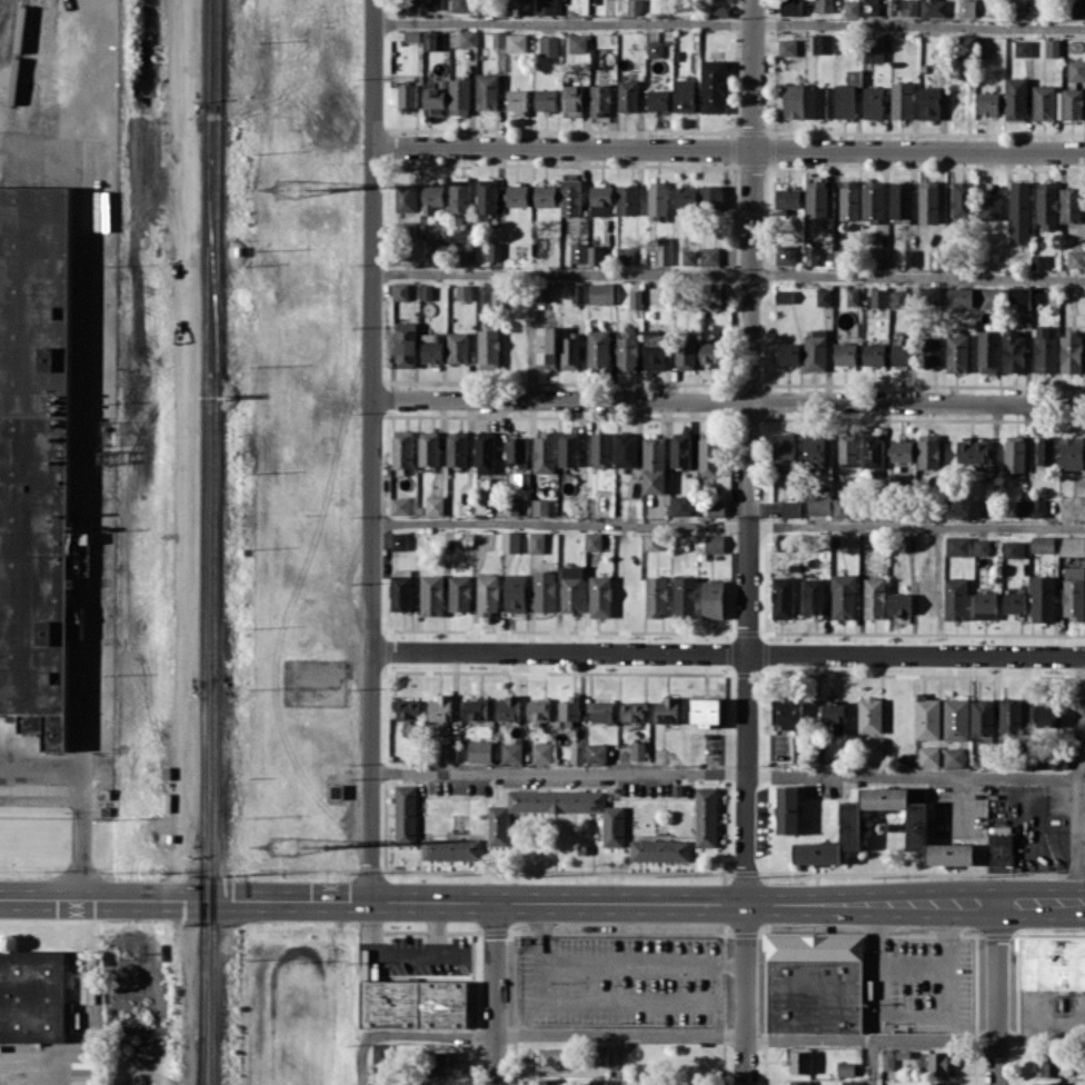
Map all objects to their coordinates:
railway: (0, 1)
building: (436, 4)
building: (460, 6)
building: (824, 6)
building: (406, 7)
building: (524, 7)
building: (546, 7)
building: (634, 7)
building: (790, 7)
building: (908, 7)
building: (870, 8)
building: (933, 8)
building: (966, 8)
building: (852, 9)
building: (1076, 9)
building: (719, 10)
road: (730, 22)
building: (411, 34)
building: (464, 37)
building: (498, 38)
building: (434, 40)
building: (516, 41)
building: (578, 42)
building: (822, 42)
building: (548, 44)
building: (786, 47)
building: (965, 47)
building: (1052, 47)
building: (654, 48)
building: (1023, 48)
building: (873, 49)
building: (1076, 69)
building: (714, 86)
building: (487, 91)
railway: (12, 92)
building: (685, 94)
building: (847, 94)
building: (407, 96)
building: (459, 96)
building: (628, 96)
building: (435, 98)
building: (1015, 98)
building: (546, 99)
building: (600, 99)
building: (517, 100)
building: (573, 100)
building: (658, 100)
building: (794, 100)
building: (902, 100)
building: (817, 101)
building: (1043, 101)
building: (873, 102)
building: (929, 102)
building: (987, 102)
building: (1073, 103)
building: (1057, 104)
road: (729, 146)
power tower: (328, 187)
railway: (217, 188)
power tower: (283, 189)
building: (517, 195)
building: (546, 195)
building: (710, 195)
building: (486, 196)
building: (406, 197)
building: (432, 197)
building: (570, 197)
building: (685, 197)
building: (787, 197)
building: (601, 199)
building: (627, 199)
building: (816, 199)
building: (849, 199)
building: (963, 199)
building: (459, 200)
building: (657, 200)
building: (873, 200)
building: (928, 201)
building: (902, 202)
building: (1071, 205)
building: (1047, 206)
building: (991, 208)
building: (1019, 211)
building: (448, 250)
building: (578, 252)
building: (495, 253)
building: (664, 253)
building: (596, 255)
building: (624, 255)
building: (709, 255)
building: (785, 255)
building: (689, 256)
building: (810, 256)
building: (909, 257)
building: (937, 259)
building: (1076, 259)
building: (1038, 261)
railway: (211, 267)
road: (729, 272)
building: (400, 290)
building: (426, 291)
building: (464, 291)
building: (578, 292)
building: (601, 292)
building: (715, 293)
building: (928, 293)
building: (1019, 293)
building: (784, 296)
building: (823, 296)
building: (853, 296)
building: (877, 297)
building: (960, 297)
building: (989, 297)
building: (496, 298)
building: (635, 298)
building: (899, 298)
building: (406, 344)
building: (547, 346)
building: (431, 347)
building: (457, 347)
building: (488, 349)
building: (598, 349)
building: (627, 349)
building: (815, 350)
building: (988, 350)
building: (1045, 350)
building: (654, 351)
building: (711, 351)
building: (932, 351)
building: (1014, 351)
building: (1071, 351)
building: (569, 352)
building: (788, 352)
building: (957, 352)
building: (686, 354)
building: (846, 354)
building: (874, 354)
building: (904, 354)
road: (728, 399)
building: (402, 448)
building: (429, 448)
building: (457, 448)
building: (568, 448)
building: (600, 448)
building: (814, 448)
building: (847, 448)
road: (371, 449)
building: (626, 449)
building: (1045, 449)
road: (187, 450)
building: (517, 450)
building: (902, 450)
building: (927, 450)
building: (972, 450)
building: (544, 451)
building: (680, 451)
road: (750, 451)
building: (784, 451)
building: (873, 451)
building: (1014, 452)
building: (1072, 452)
building: (485, 455)
building: (708, 456)
building: (33, 457)
building: (654, 465)
road: (83, 466)
building: (680, 504)
building: (399, 505)
building: (434, 505)
building: (818, 505)
building: (539, 506)
building: (510, 507)
building: (840, 507)
building: (986, 507)
building: (1022, 507)
building: (1037, 507)
building: (716, 508)
building: (790, 508)
railway: (205, 524)
road: (727, 526)
building: (398, 540)
building: (593, 540)
building: (510, 541)
building: (536, 541)
building: (653, 541)
building: (786, 541)
building: (714, 542)
building: (1043, 544)
building: (957, 545)
building: (981, 546)
building: (1072, 546)
building: (1016, 549)
building: (571, 588)
building: (544, 590)
building: (401, 593)
building: (460, 593)
building: (516, 593)
building: (1074, 593)
building: (488, 594)
building: (431, 595)
building: (685, 595)
building: (600, 596)
building: (657, 596)
building: (813, 596)
building: (844, 596)
building: (783, 597)
building: (874, 597)
building: (955, 598)
building: (1043, 598)
building: (713, 599)
building: (898, 603)
building: (1014, 603)
building: (985, 605)
building: (74, 621)
road: (728, 653)
power substation: (316, 683)
road: (1083, 699)
railway: (216, 703)
building: (440, 707)
building: (406, 708)
building: (475, 708)
building: (508, 708)
building: (570, 709)
building: (666, 709)
building: (600, 710)
building: (634, 710)
building: (706, 710)
building: (538, 711)
building: (829, 711)
building: (788, 713)
building: (869, 715)
building: (1045, 715)
building: (1011, 716)
building: (927, 717)
building: (956, 719)
building: (982, 719)
road: (1083, 743)
building: (875, 748)
building: (638, 749)
building: (448, 750)
building: (479, 750)
building: (542, 751)
building: (511, 753)
building: (596, 753)
building: (928, 755)
building: (953, 757)
building: (1051, 759)
road: (725, 773)
road: (1081, 780)
building: (337, 790)
road: (79, 797)
road: (959, 804)
building: (788, 809)
building: (406, 814)
building: (706, 816)
building: (917, 825)
building: (498, 828)
power tower: (323, 844)
power tower: (285, 846)
building: (451, 848)
road: (1083, 848)
building: (659, 849)
building: (1001, 849)
road: (539, 900)
road: (1082, 904)
road: (1082, 906)
road: (402, 954)
building: (1052, 962)
road: (644, 964)
road: (914, 965)
road: (494, 967)
road: (997, 972)
building: (815, 983)
road: (747, 994)
building: (33, 996)
building: (414, 1003)
road: (595, 1004)
road: (914, 1016)
road: (439, 1035)
road: (788, 1037)
building: (380, 1052)
road: (361, 1053)
building: (600, 1055)
railway: (215, 1057)
building: (903, 1057)
building: (554, 1058)
road: (494, 1059)
road: (621, 1061)
building: (799, 1061)
road: (870, 1061)
building: (887, 1061)
road: (996, 1062)
building: (937, 1063)
building: (1051, 1063)
building: (438, 1064)
railway: (201, 1067)
railway: (202, 1067)
building: (846, 1068)
road: (28, 1072)
building: (381, 1073)
building: (551, 1082)
building: (598, 1082)
building: (798, 1083)
building: (937, 1083)
building: (1053, 1083)

